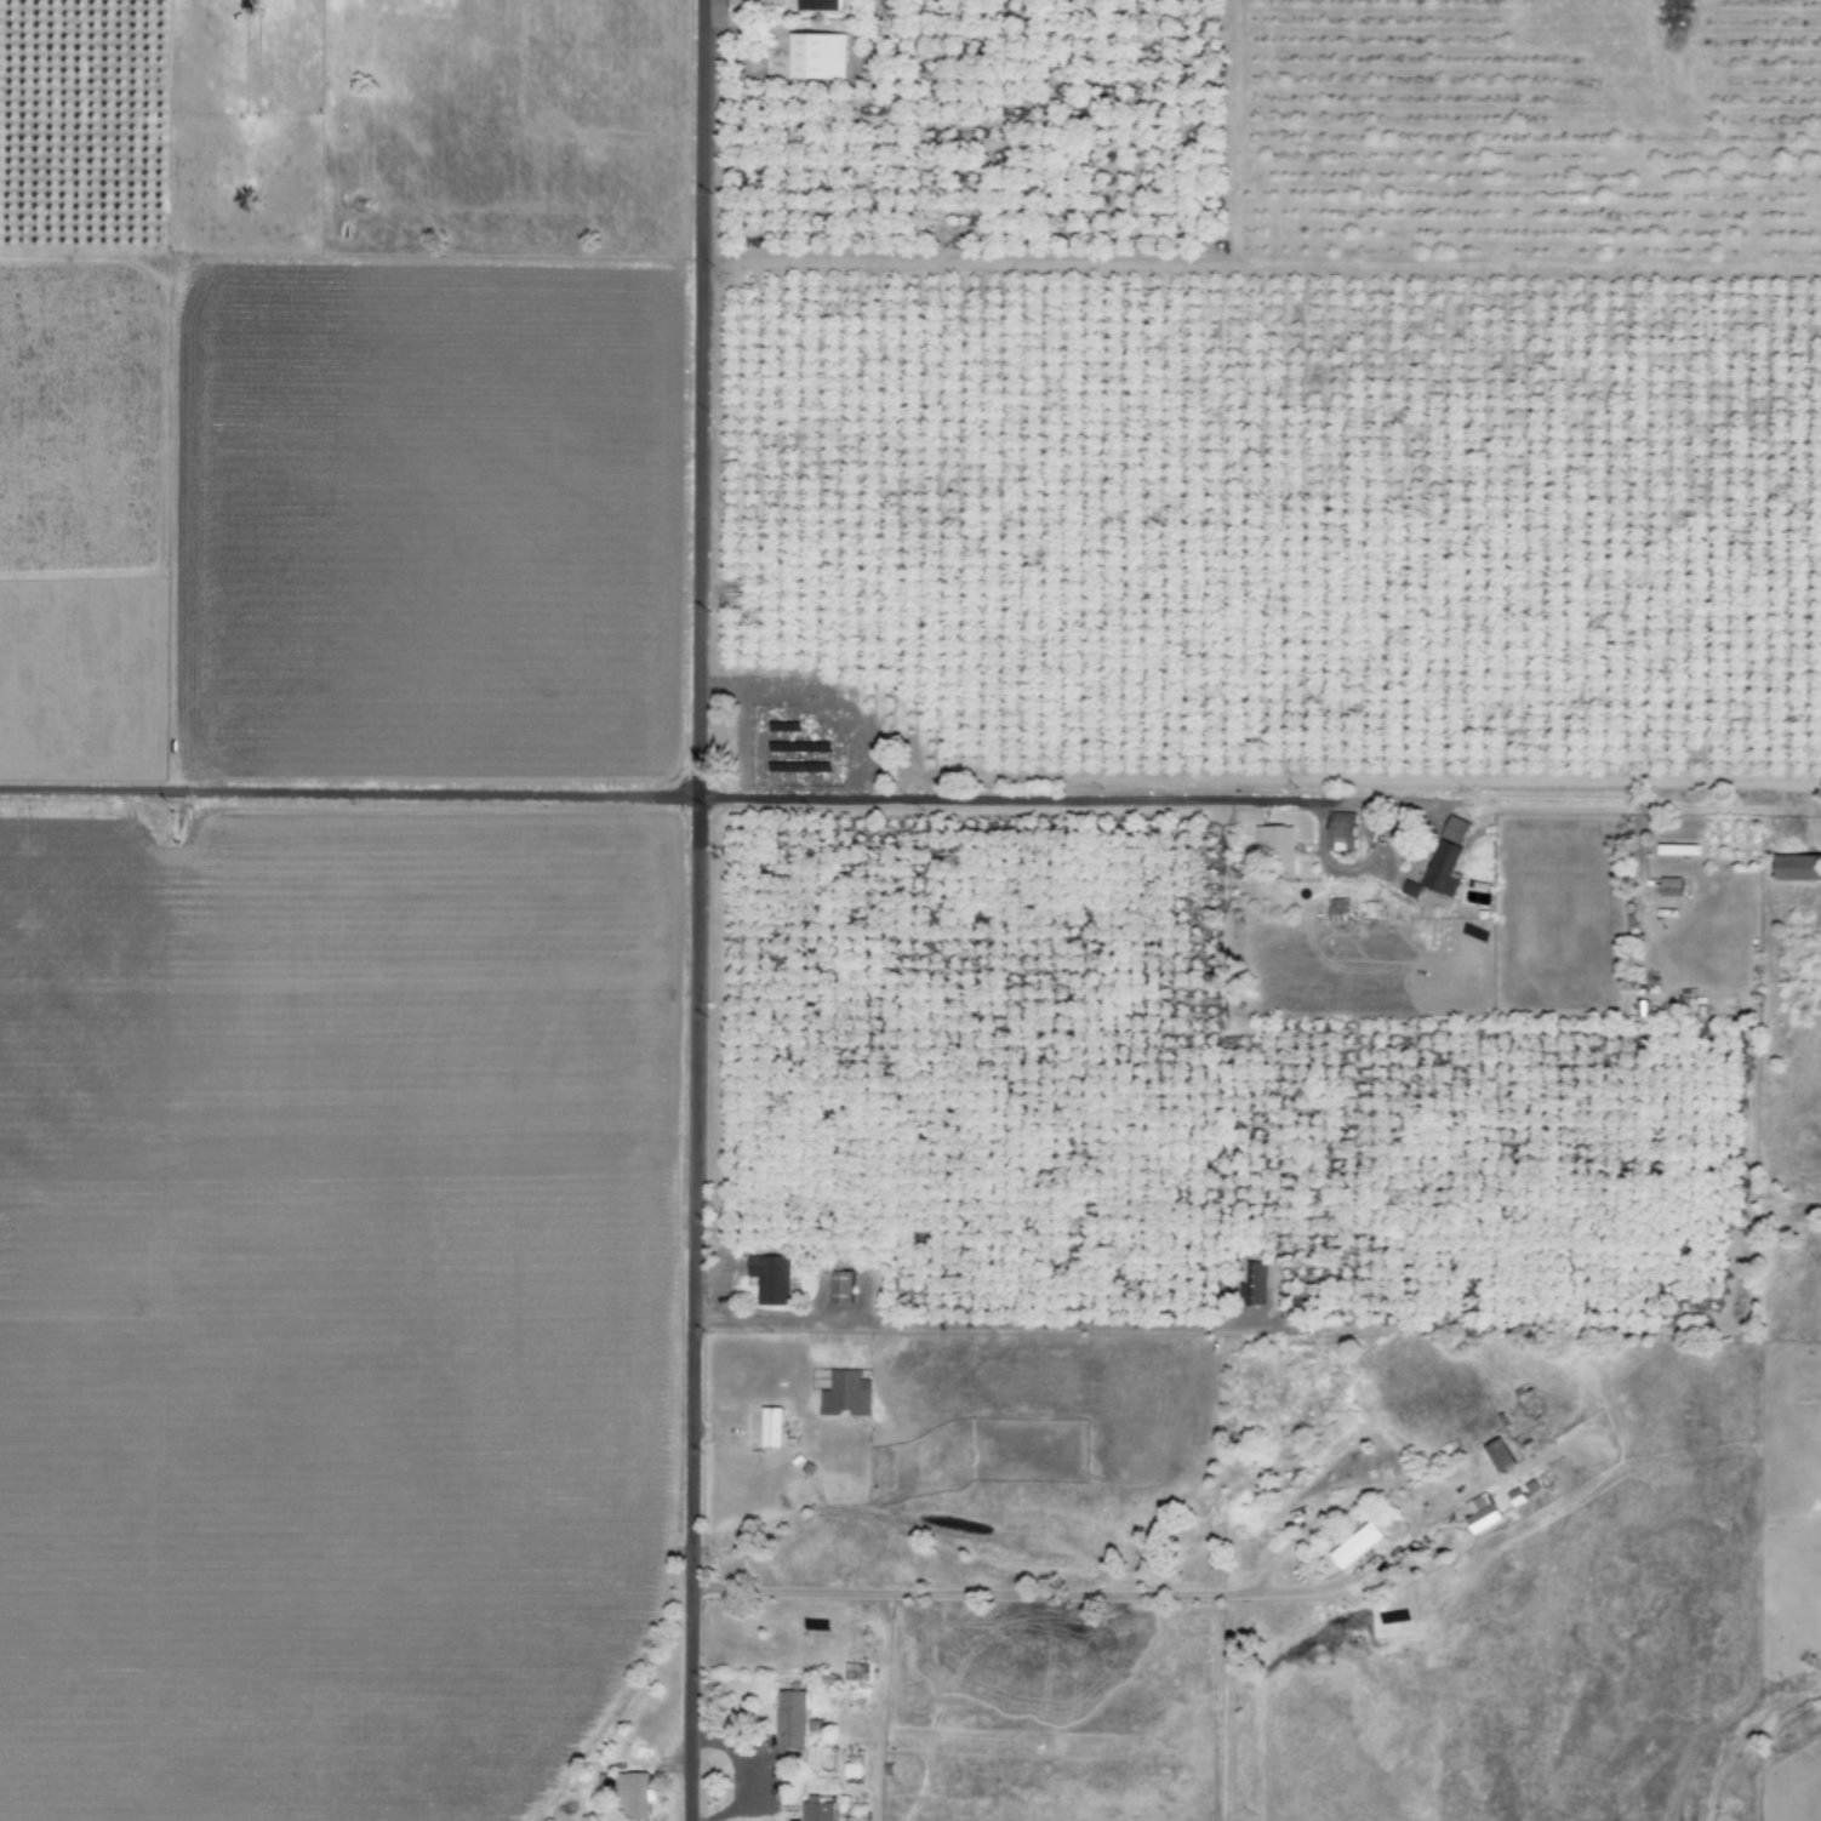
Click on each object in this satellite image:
building: (817, 5)
building: (817, 56)
road: (698, 396)
road: (344, 790)
road: (1079, 795)
building: (1341, 830)
building: (1455, 830)
building: (1275, 845)
building: (1676, 850)
building: (1798, 868)
building: (1443, 869)
building: (1669, 886)
road: (160, 1120)
building: (771, 1278)
building: (1254, 1281)
building: (840, 1286)
road: (685, 1307)
building: (845, 1393)
building: (770, 1426)
building: (1499, 1454)
building: (1480, 1512)
building: (1355, 1545)
road: (1170, 1594)
building: (852, 1671)
building: (789, 1718)
building: (633, 1794)
building: (815, 1809)

